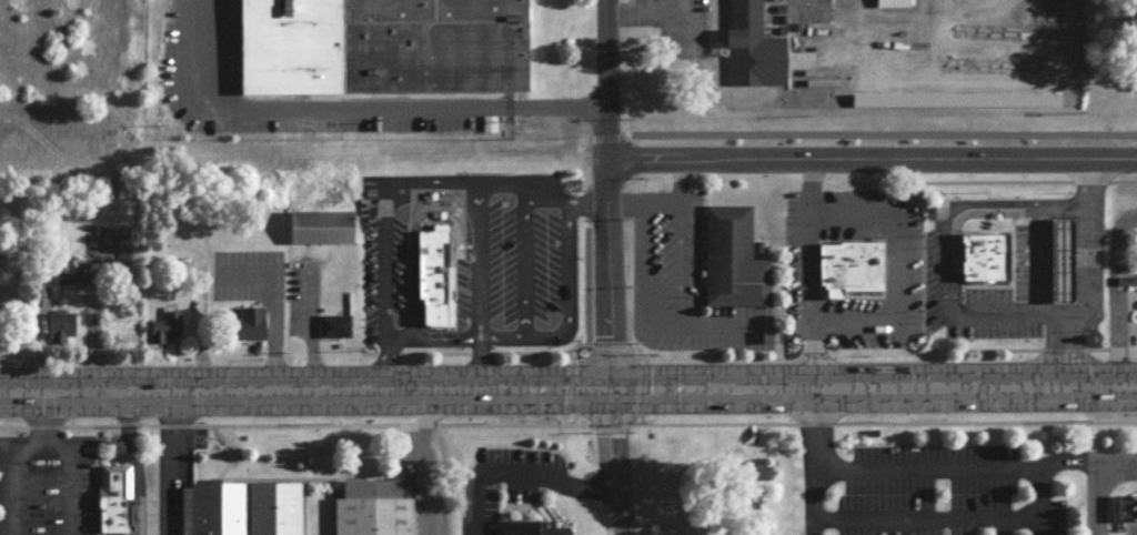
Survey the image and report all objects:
road: (686, 4)
building: (896, 7)
road: (638, 10)
road: (644, 20)
building: (381, 46)
building: (749, 47)
road: (349, 103)
road: (867, 130)
road: (867, 158)
road: (1023, 180)
road: (537, 186)
road: (451, 195)
road: (598, 196)
road: (661, 201)
road: (436, 205)
building: (320, 225)
road: (952, 225)
road: (382, 242)
road: (476, 251)
road: (938, 252)
building: (982, 255)
road: (524, 256)
parking lot: (529, 258)
parking lot: (382, 259)
building: (731, 259)
road: (638, 262)
road: (681, 262)
road: (894, 263)
road: (565, 267)
building: (847, 267)
building: (1064, 267)
building: (78, 269)
road: (812, 275)
building: (61, 276)
building: (434, 276)
building: (1120, 280)
road: (1084, 285)
road: (1111, 292)
building: (29, 300)
road: (272, 312)
building: (56, 323)
building: (248, 323)
road: (704, 323)
building: (164, 324)
building: (332, 324)
road: (545, 333)
road: (429, 334)
road: (500, 334)
road: (1018, 349)
road: (291, 352)
road: (565, 353)
road: (474, 359)
road: (806, 394)
traffic signals: (602, 395)
road: (238, 398)
road: (633, 417)
road: (566, 418)
road: (39, 420)
road: (983, 421)
road: (808, 422)
road: (602, 423)
road: (706, 423)
road: (290, 424)
road: (940, 463)
road: (423, 464)
road: (606, 465)
road: (132, 466)
road: (165, 466)
road: (516, 470)
road: (12, 475)
road: (63, 476)
building: (114, 497)
road: (814, 498)
road: (1043, 498)
road: (1088, 498)
building: (239, 507)
building: (1123, 507)
building: (371, 508)
road: (1014, 511)
road: (912, 513)
building: (530, 528)

